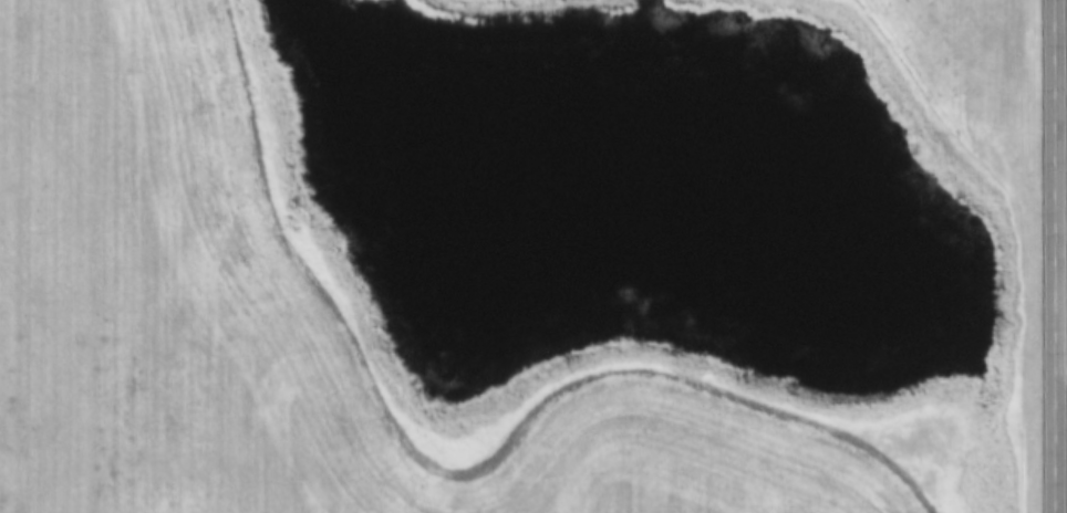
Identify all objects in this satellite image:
road: (1060, 256)
road: (1064, 391)

